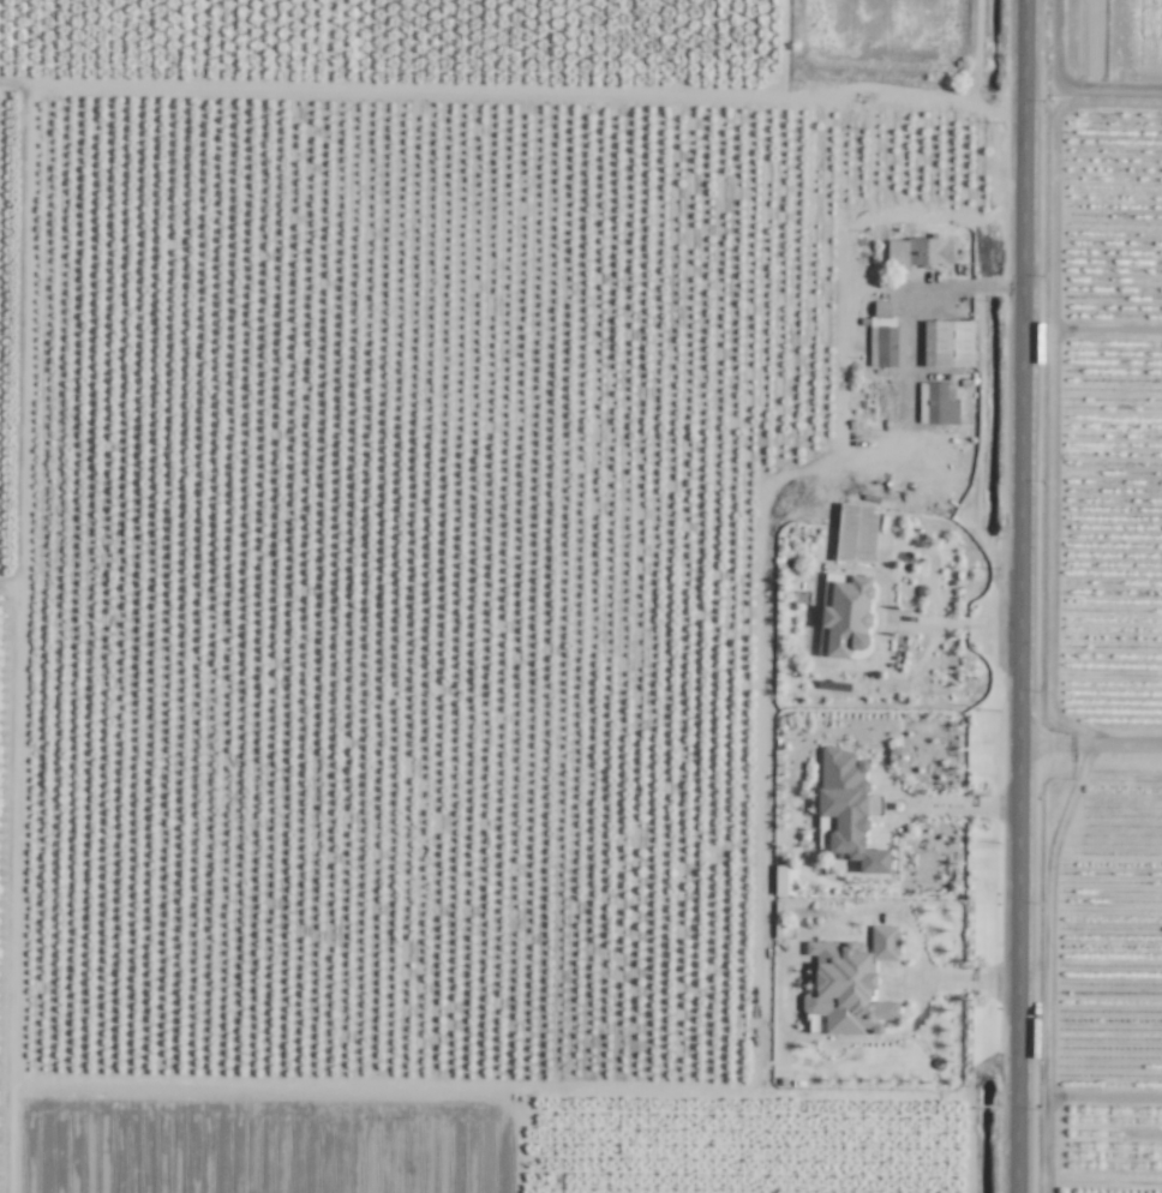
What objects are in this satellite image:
road: (511, 86)
road: (1040, 109)
building: (916, 253)
road: (911, 302)
road: (1091, 328)
building: (884, 337)
building: (946, 343)
road: (1070, 371)
building: (936, 403)
building: (855, 533)
road: (1018, 595)
building: (845, 616)
road: (952, 623)
crop: (1112, 688)
road: (1089, 742)
building: (847, 807)
road: (956, 808)
building: (784, 880)
road: (1058, 966)
road: (959, 982)
building: (850, 983)
road: (1110, 1097)

